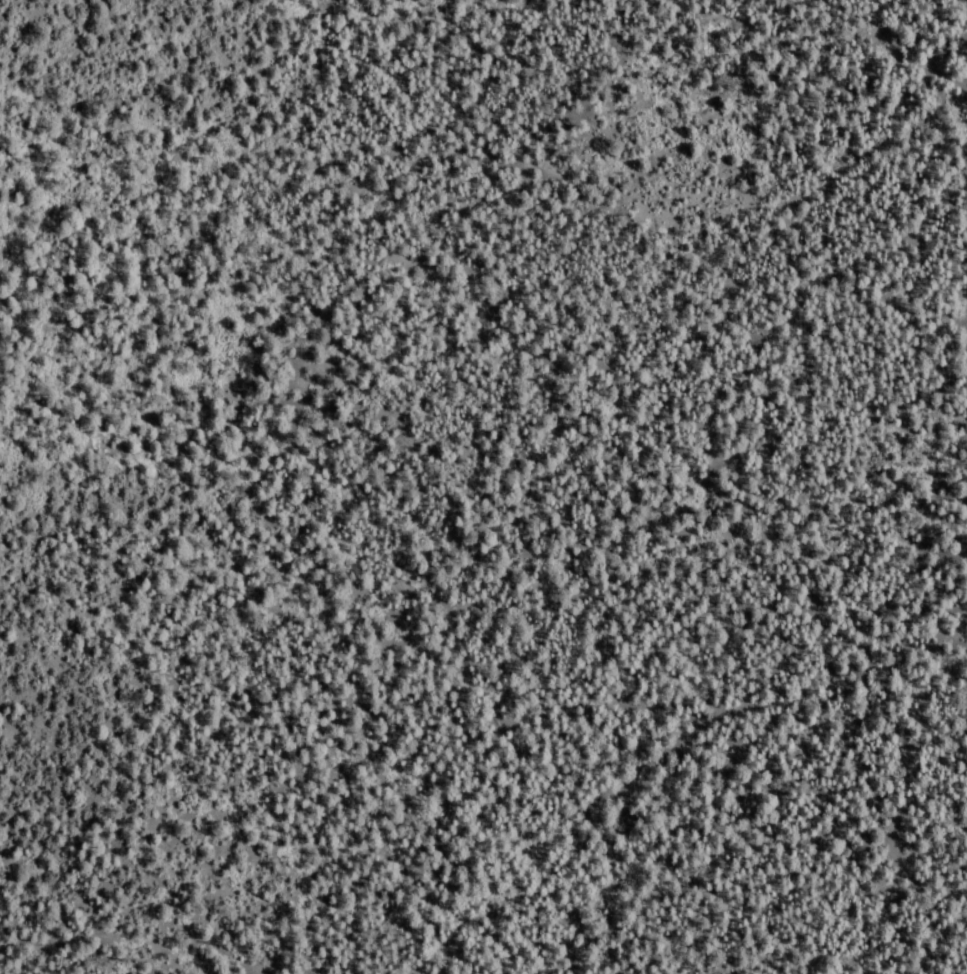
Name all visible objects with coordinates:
road: (958, 77)

